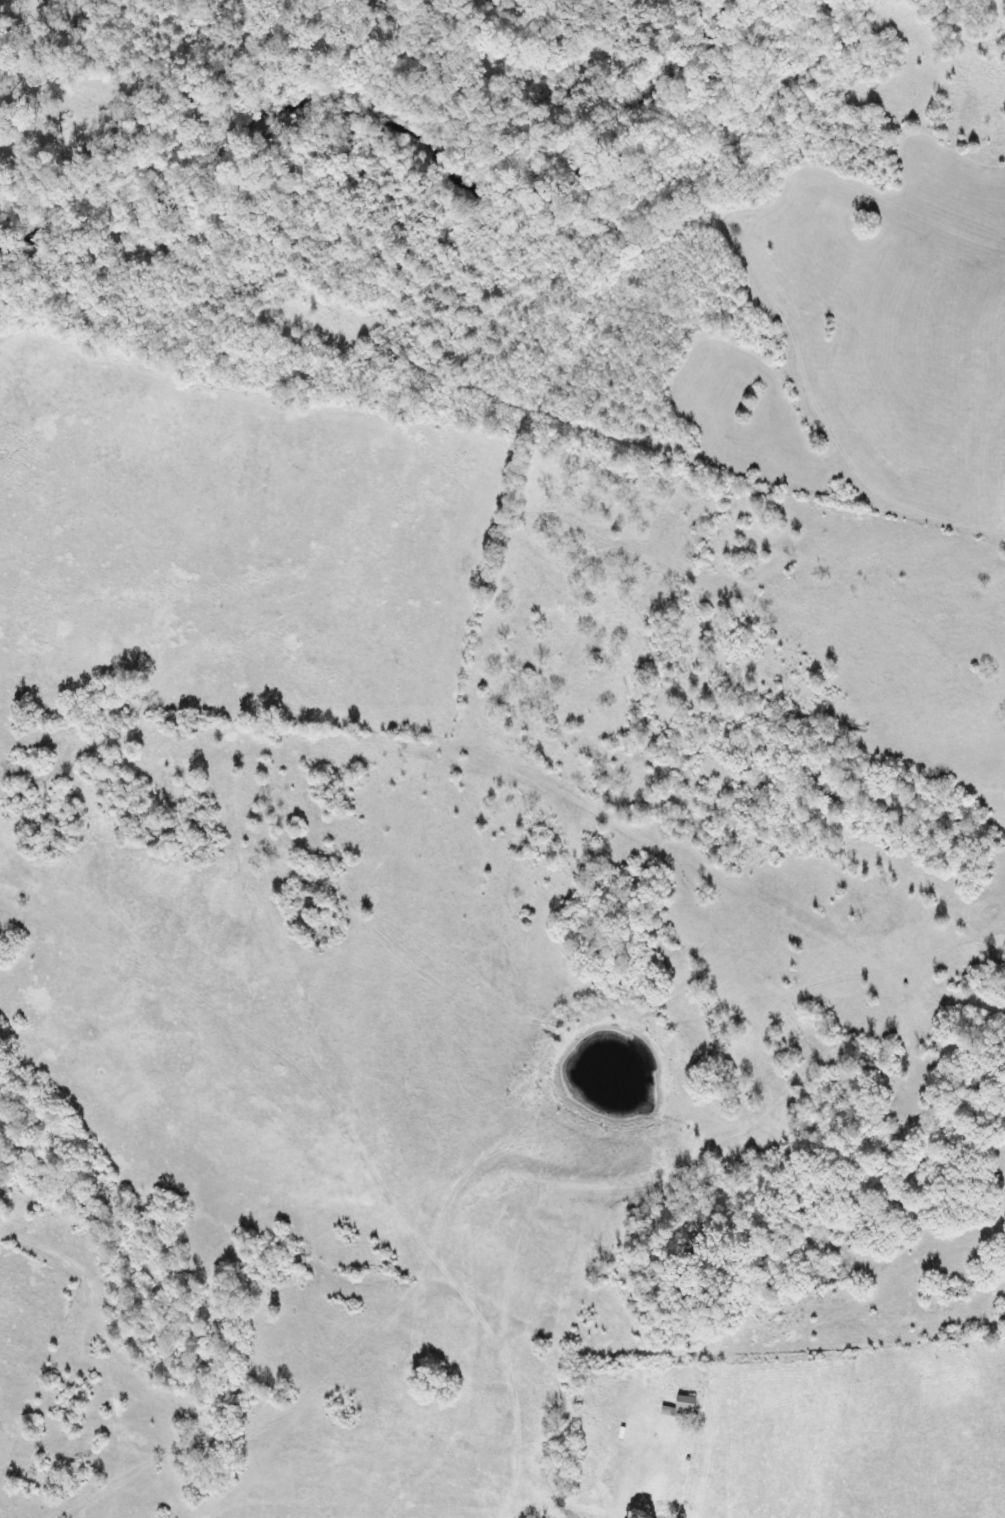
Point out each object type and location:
road: (411, 1222)
building: (677, 1405)

